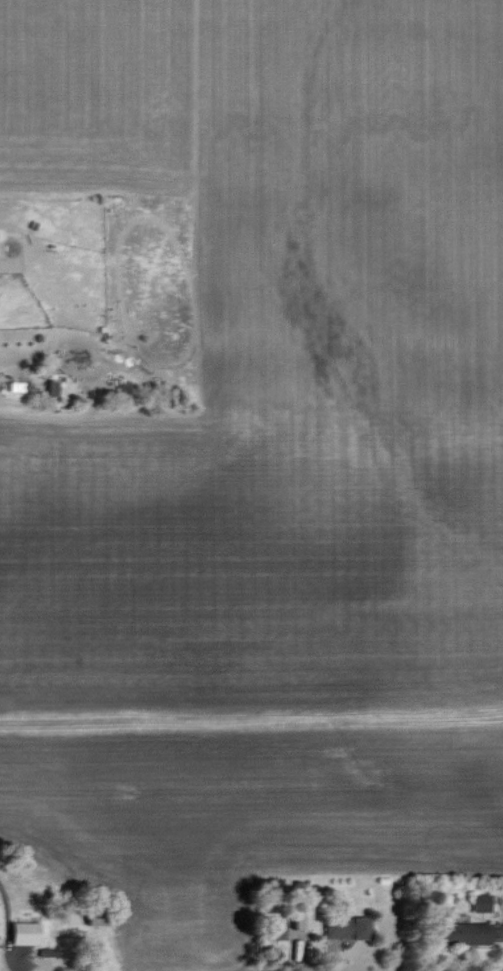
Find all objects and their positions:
building: (68, 391)
building: (477, 903)
building: (297, 918)
building: (340, 925)
building: (271, 931)
building: (19, 933)
building: (460, 933)

